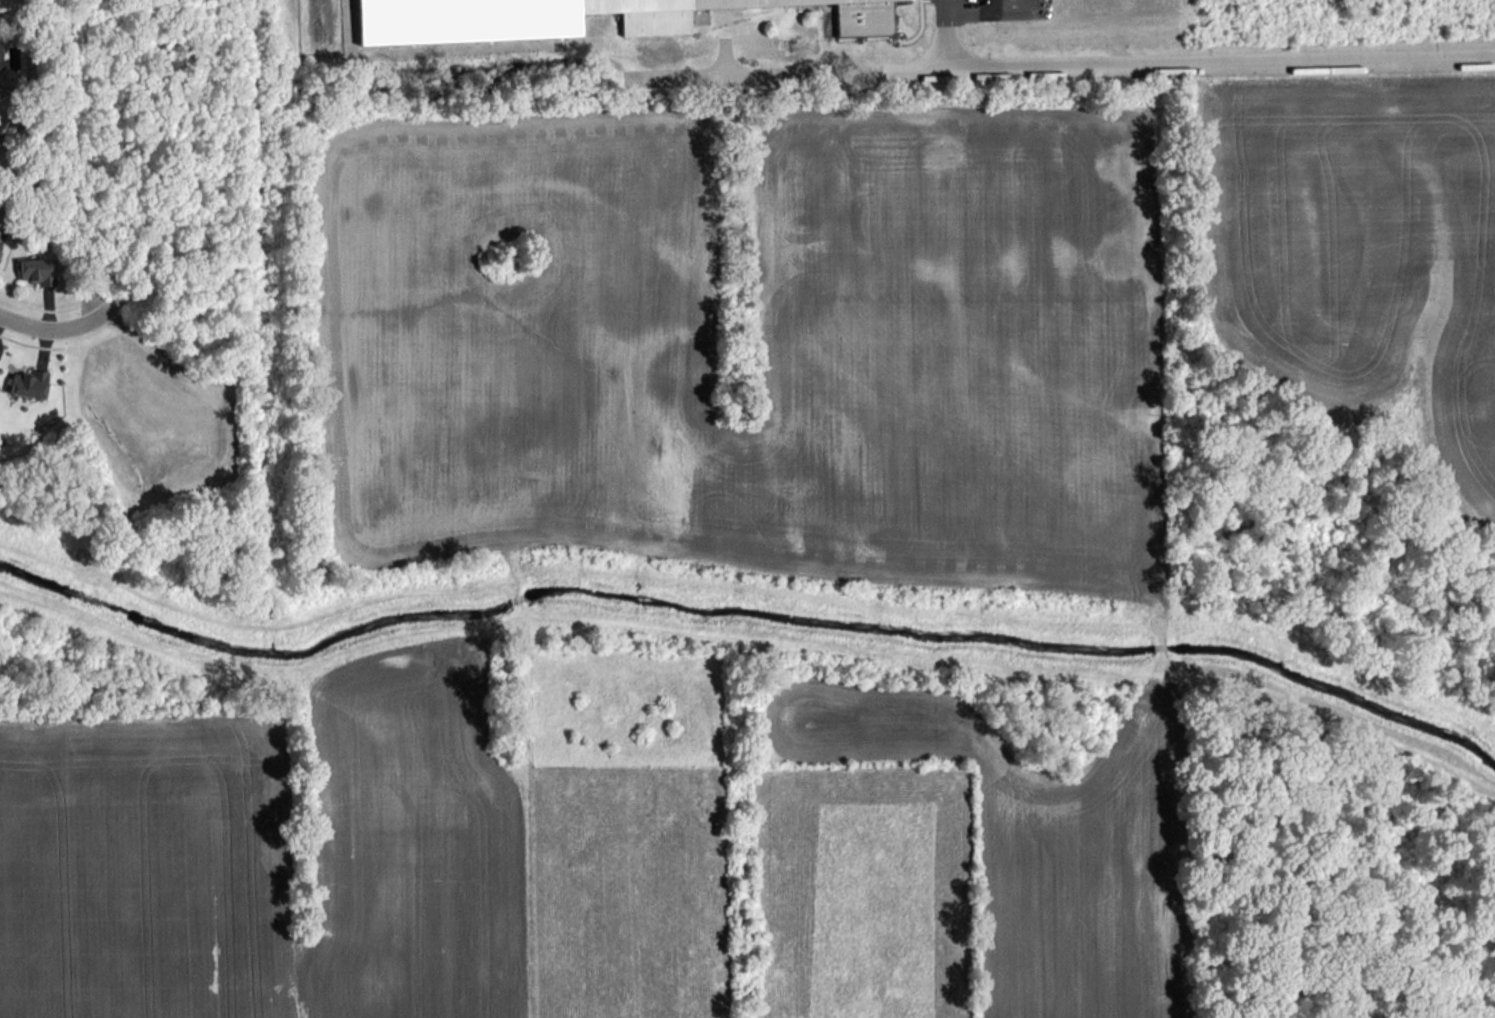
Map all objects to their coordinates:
parking lot: (953, 10)
building: (572, 18)
road: (945, 34)
road: (1183, 60)
building: (0, 63)
road: (753, 75)
building: (0, 239)
building: (36, 271)
road: (57, 329)
building: (28, 383)

